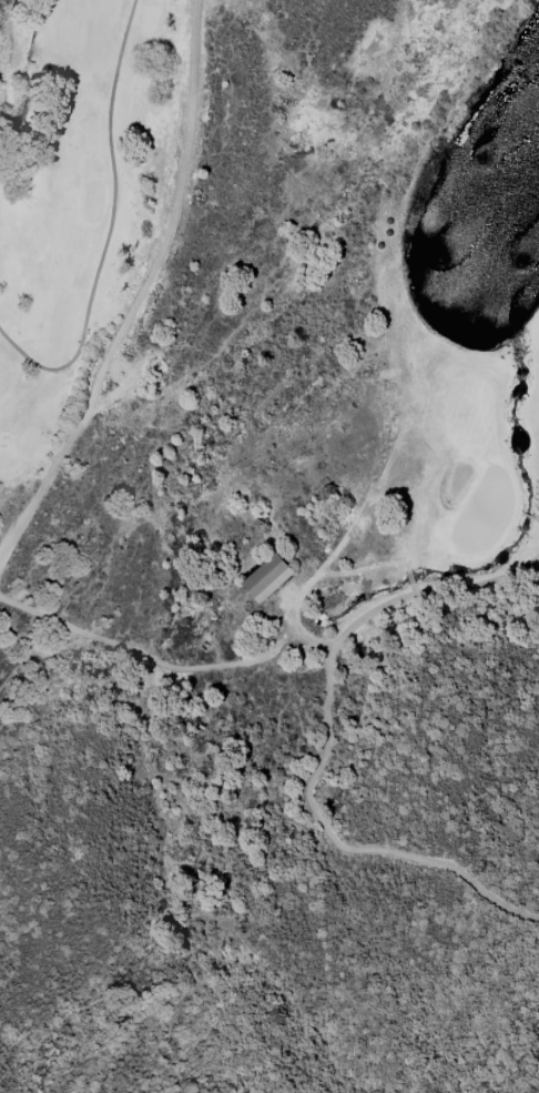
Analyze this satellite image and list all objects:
park: (75, 191)
park: (481, 318)
building: (266, 578)
road: (327, 751)

